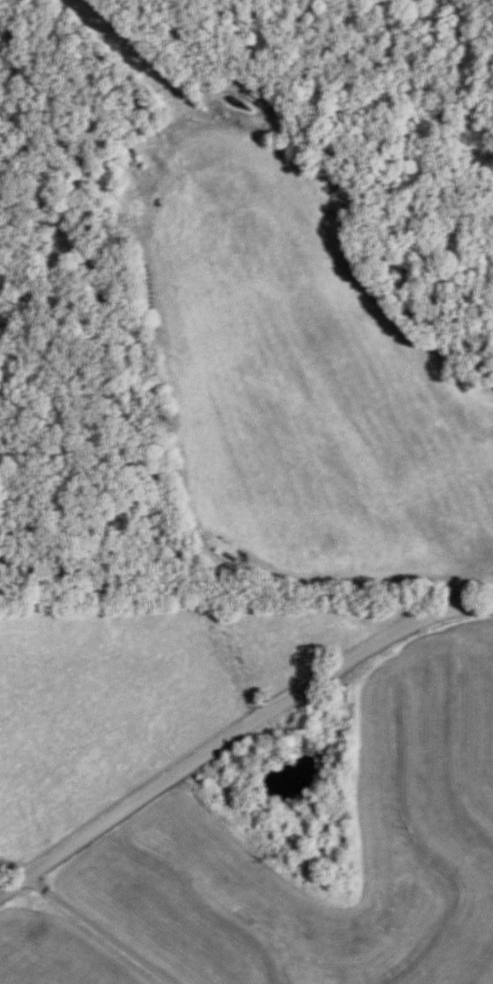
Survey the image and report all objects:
building: (141, 143)
road: (241, 749)

